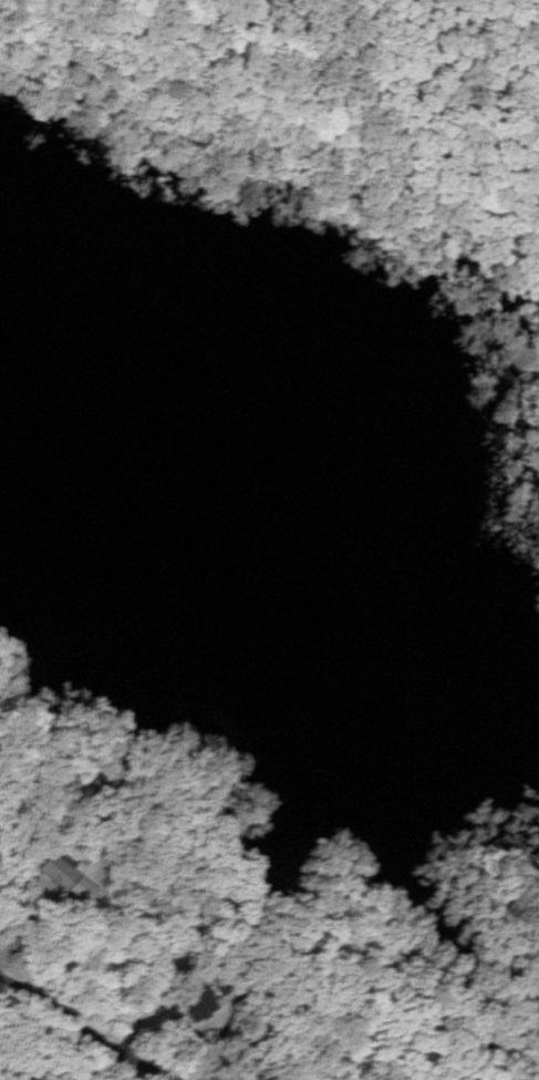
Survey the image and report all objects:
building: (199, 1006)
road: (86, 1031)

